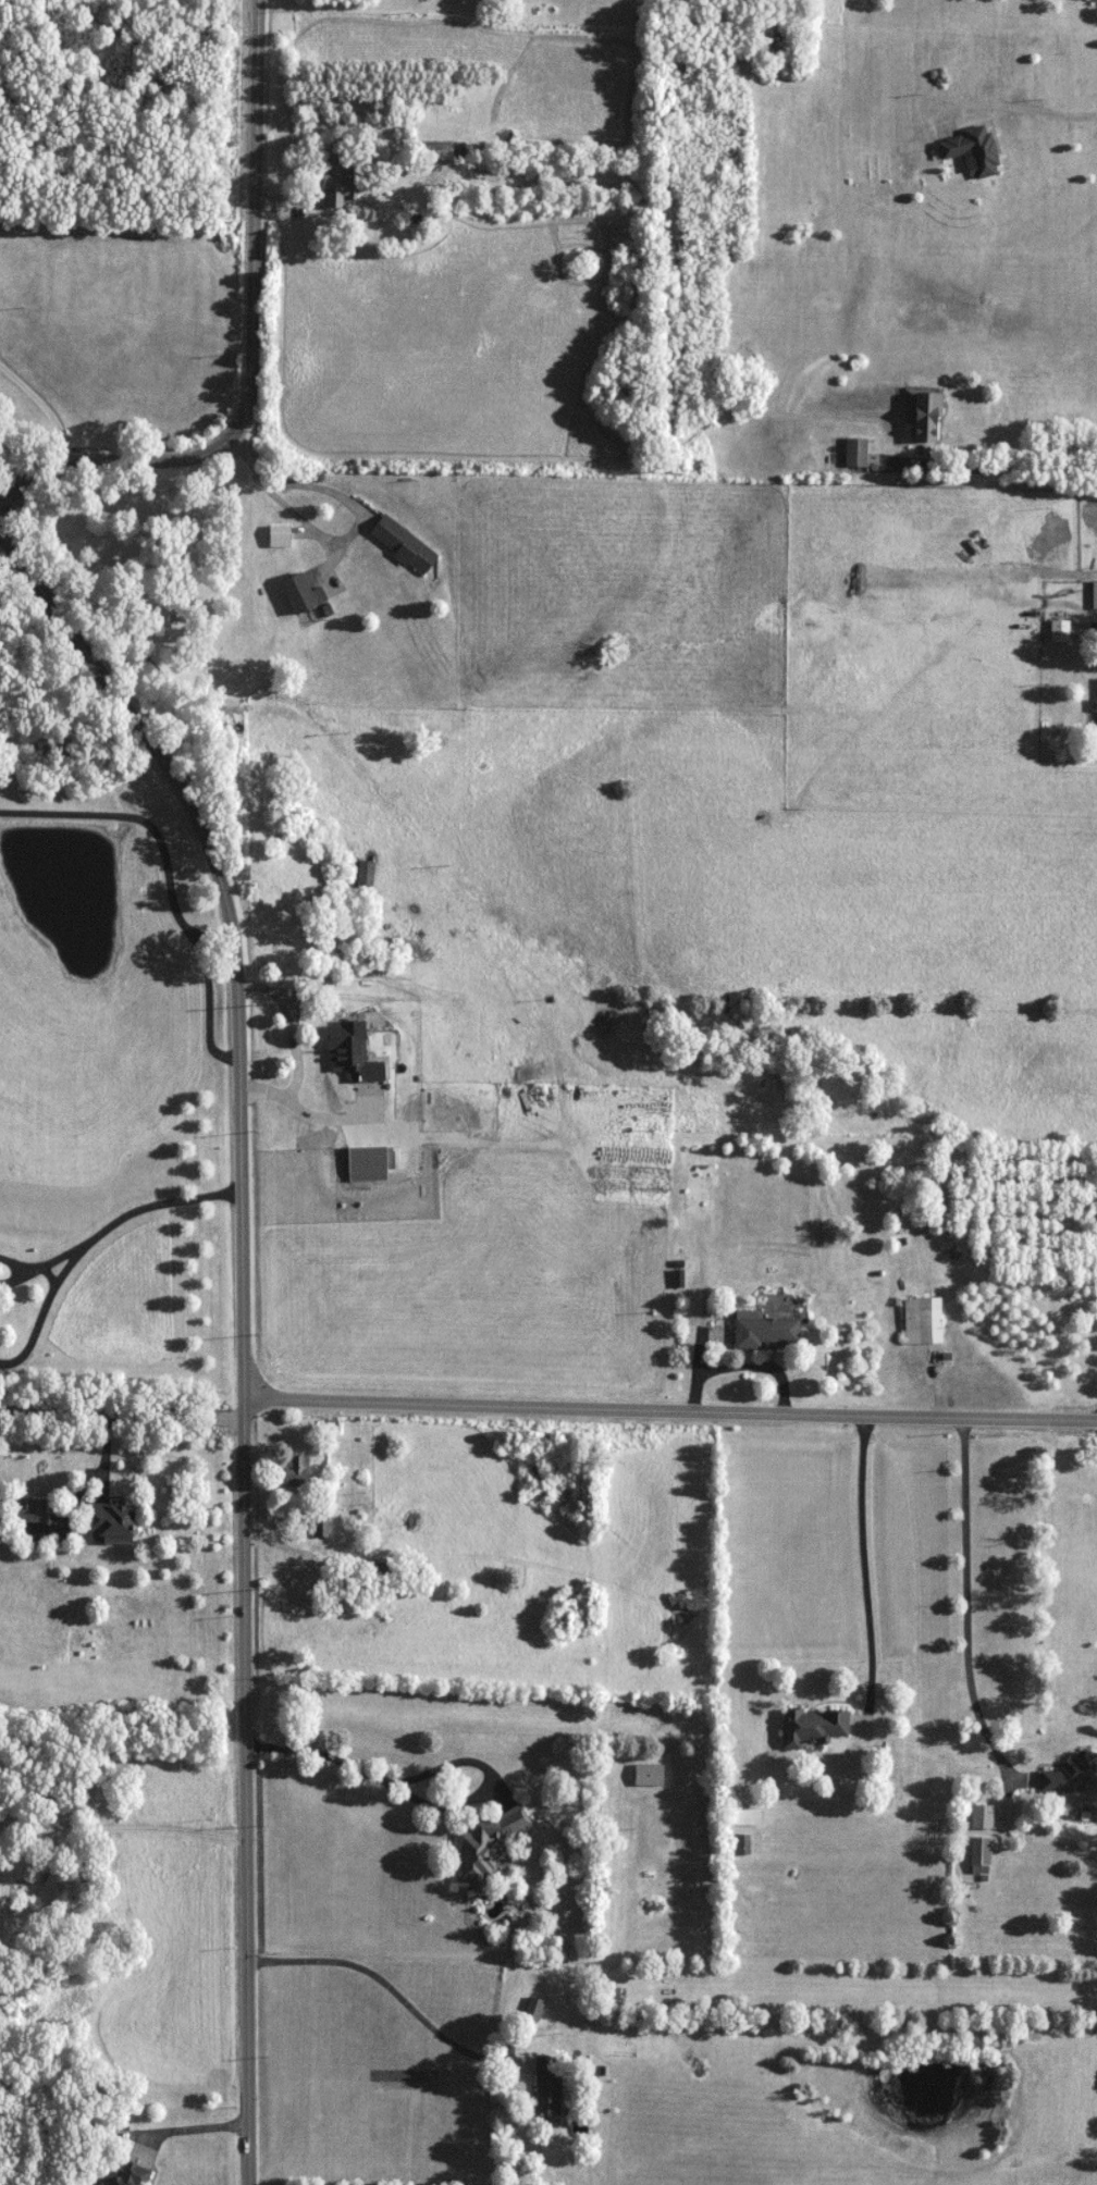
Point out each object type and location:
road: (1014, 104)
building: (974, 148)
building: (444, 150)
building: (340, 164)
road: (255, 350)
road: (39, 402)
building: (927, 417)
building: (856, 452)
road: (333, 461)
road: (991, 468)
building: (280, 535)
building: (404, 544)
building: (299, 593)
building: (1095, 594)
building: (1060, 630)
building: (1095, 704)
building: (367, 873)
road: (165, 877)
building: (353, 1052)
road: (91, 1237)
road: (61, 1252)
road: (14, 1262)
road: (48, 1272)
road: (14, 1277)
building: (923, 1320)
road: (248, 1321)
building: (765, 1330)
road: (126, 1402)
road: (675, 1418)
building: (297, 1470)
building: (32, 1510)
building: (113, 1522)
building: (321, 1522)
building: (377, 1568)
road: (864, 1571)
road: (965, 1604)
building: (814, 1725)
building: (1072, 1773)
building: (649, 1774)
road: (429, 1802)
building: (983, 1816)
road: (97, 1826)
building: (743, 1843)
building: (484, 1847)
building: (981, 1854)
road: (390, 1986)
building: (534, 2009)
building: (547, 2084)
road: (206, 2125)
building: (133, 2175)

